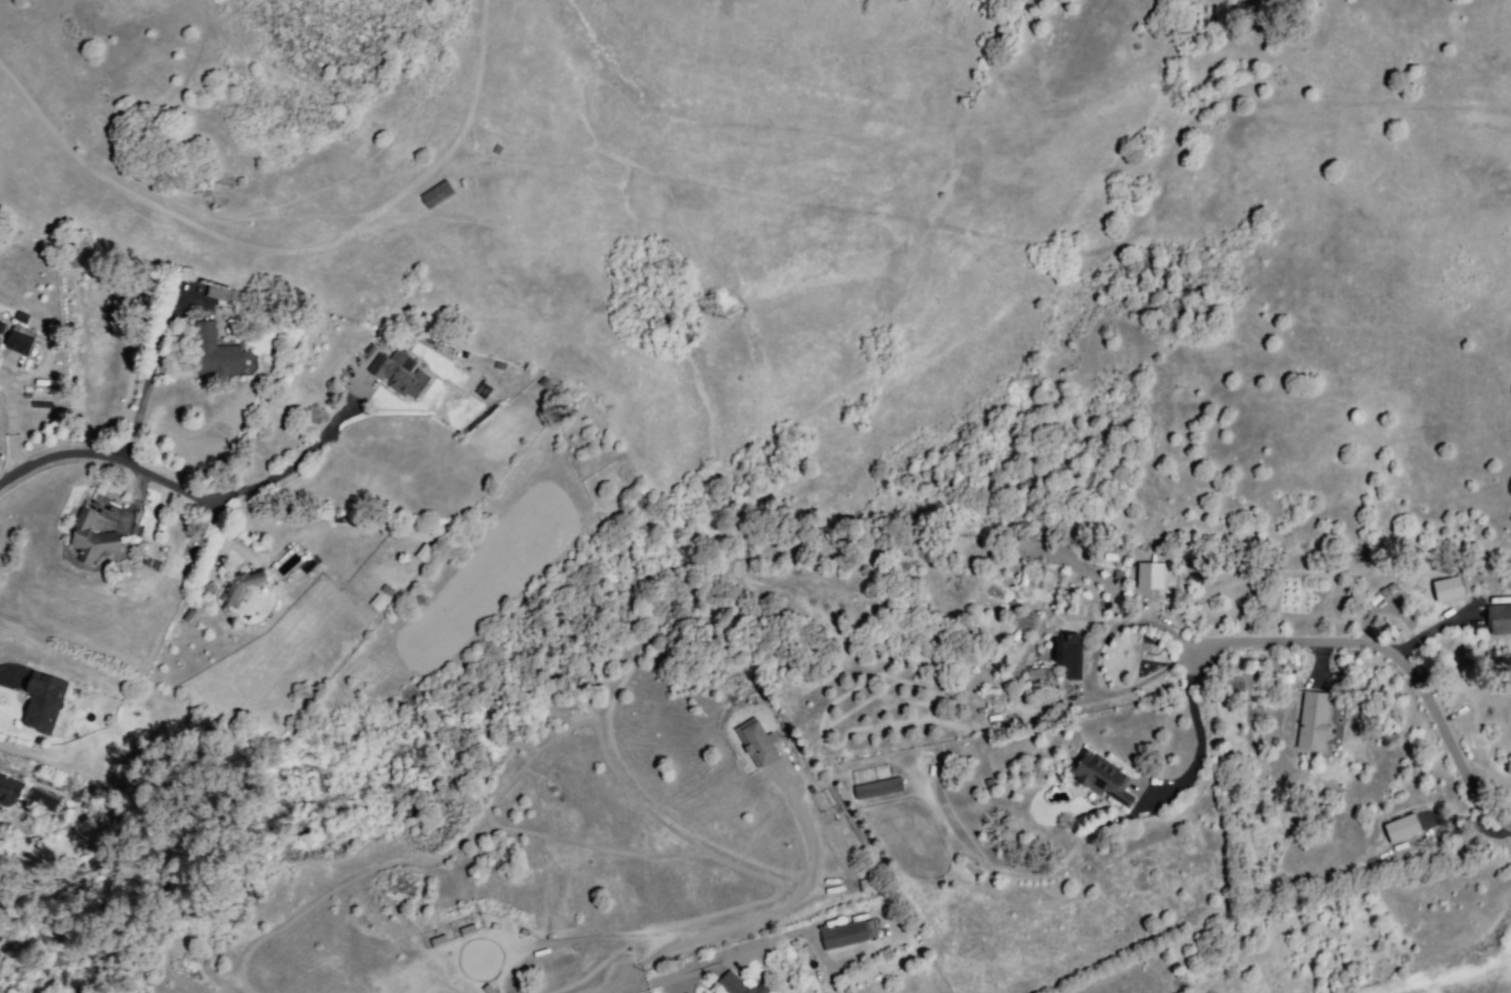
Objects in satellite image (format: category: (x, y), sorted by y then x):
building: (439, 196)
road: (1017, 235)
road: (205, 240)
building: (18, 344)
building: (215, 352)
road: (154, 374)
building: (399, 374)
road: (10, 421)
road: (109, 461)
road: (294, 467)
building: (104, 493)
road: (133, 497)
building: (138, 533)
building: (91, 541)
building: (188, 555)
building: (423, 558)
building: (1149, 575)
building: (1042, 578)
building: (244, 586)
building: (1446, 588)
building: (187, 616)
building: (1501, 621)
building: (359, 632)
road: (1403, 654)
building: (1070, 657)
road: (1089, 671)
building: (1036, 673)
road: (7, 675)
building: (43, 706)
building: (1311, 721)
road: (1196, 725)
building: (755, 747)
building: (1097, 779)
building: (993, 784)
building: (9, 791)
building: (883, 792)
building: (42, 799)
building: (1401, 827)
building: (865, 884)
building: (467, 929)
building: (848, 937)
road: (732, 957)
building: (734, 984)

